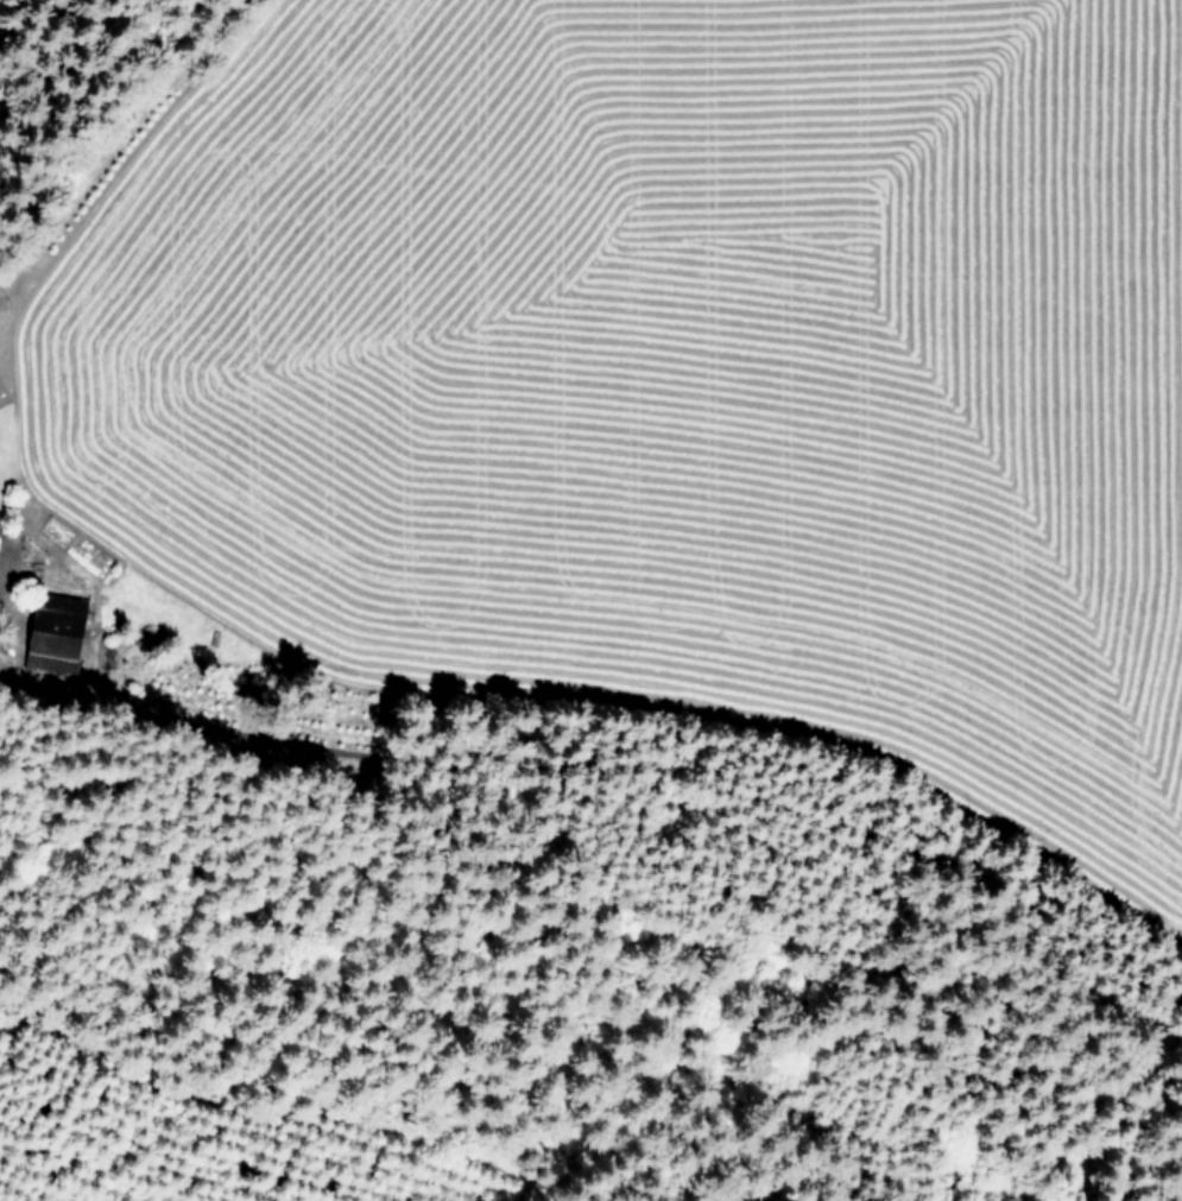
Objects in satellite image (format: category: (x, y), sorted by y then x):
crop: (699, 397)

